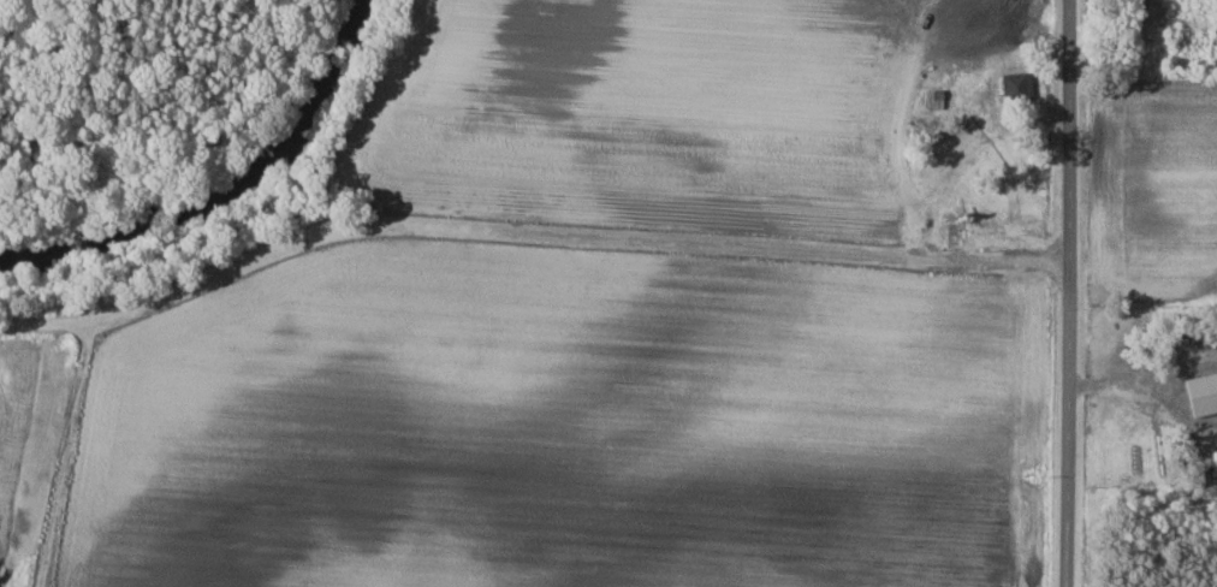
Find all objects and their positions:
building: (1019, 88)
river: (228, 197)
road: (1065, 292)
road: (1181, 369)
road: (1105, 383)
building: (1204, 395)
road: (1173, 413)

